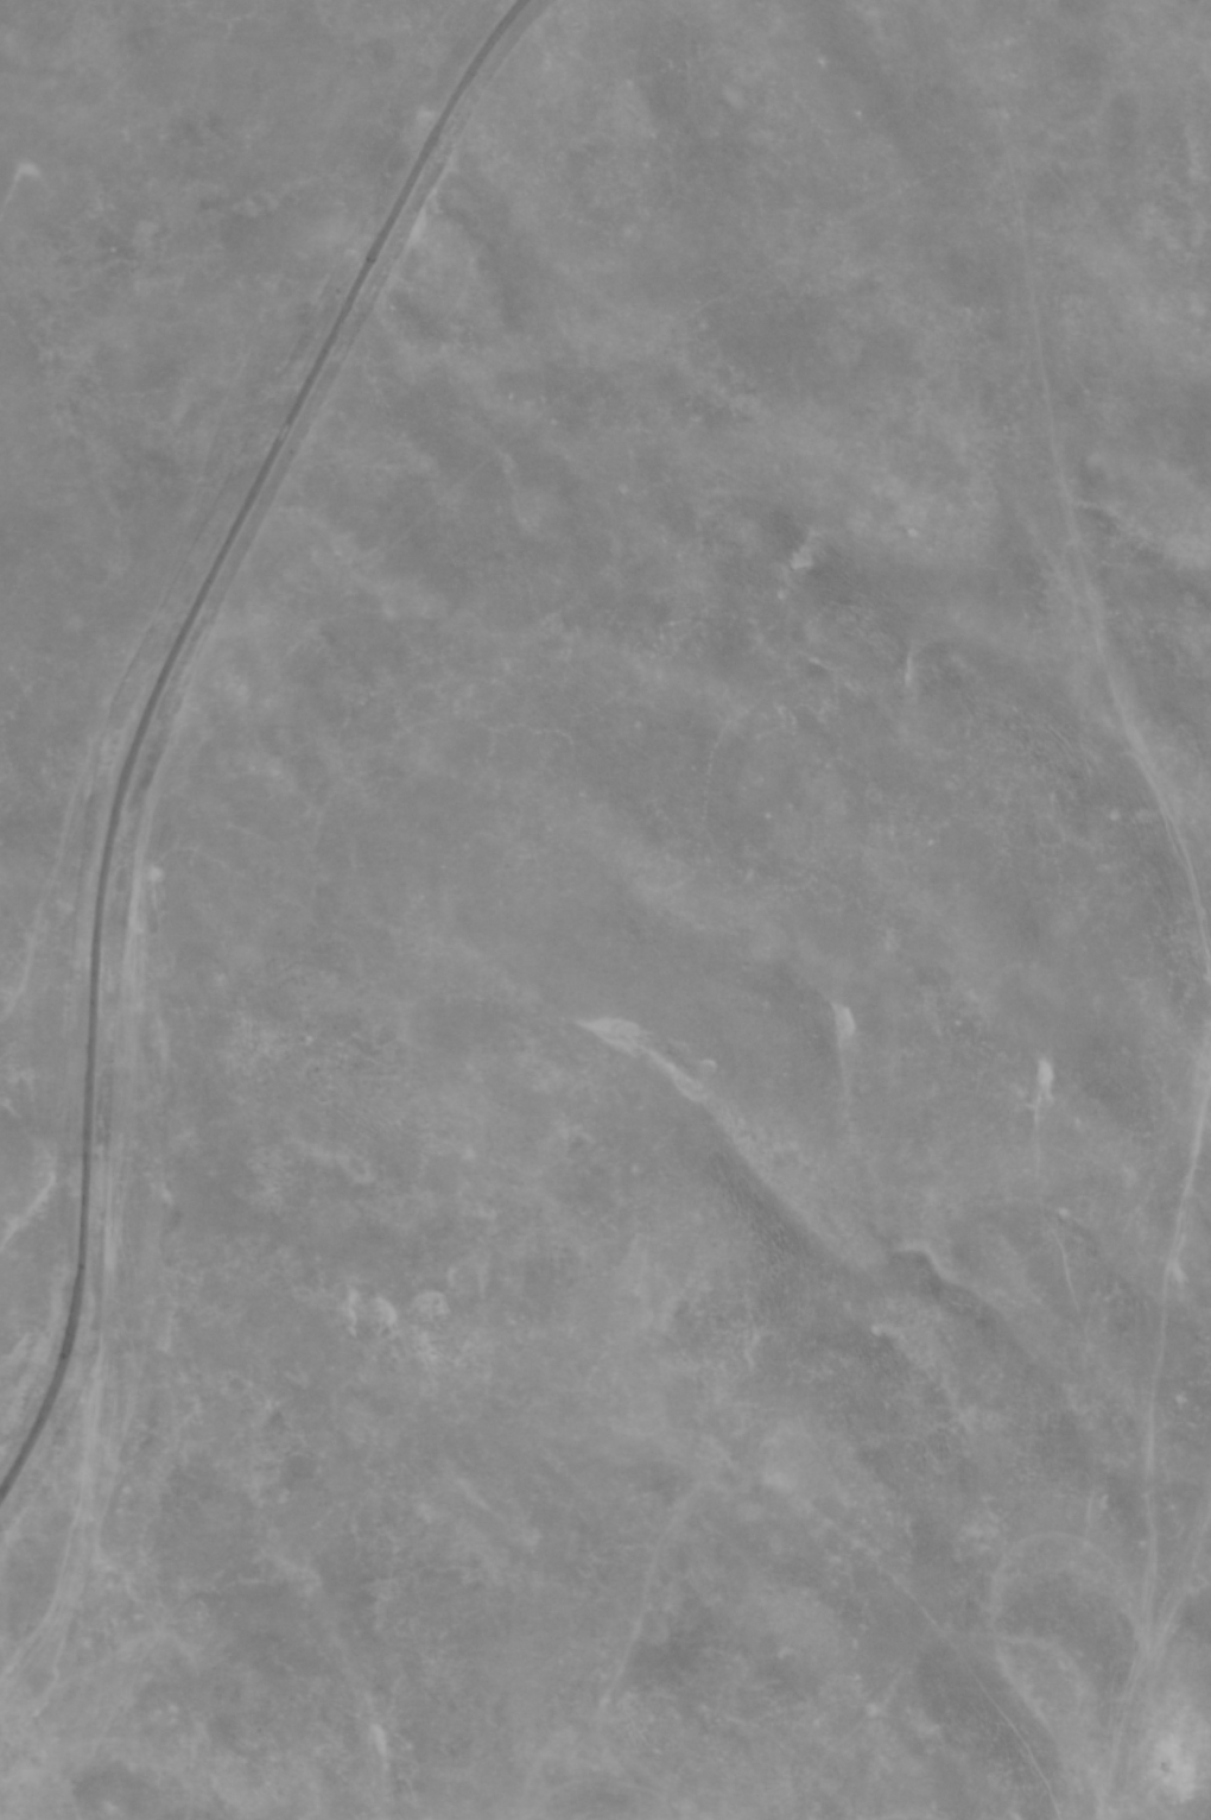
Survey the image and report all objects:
road: (145, 713)

